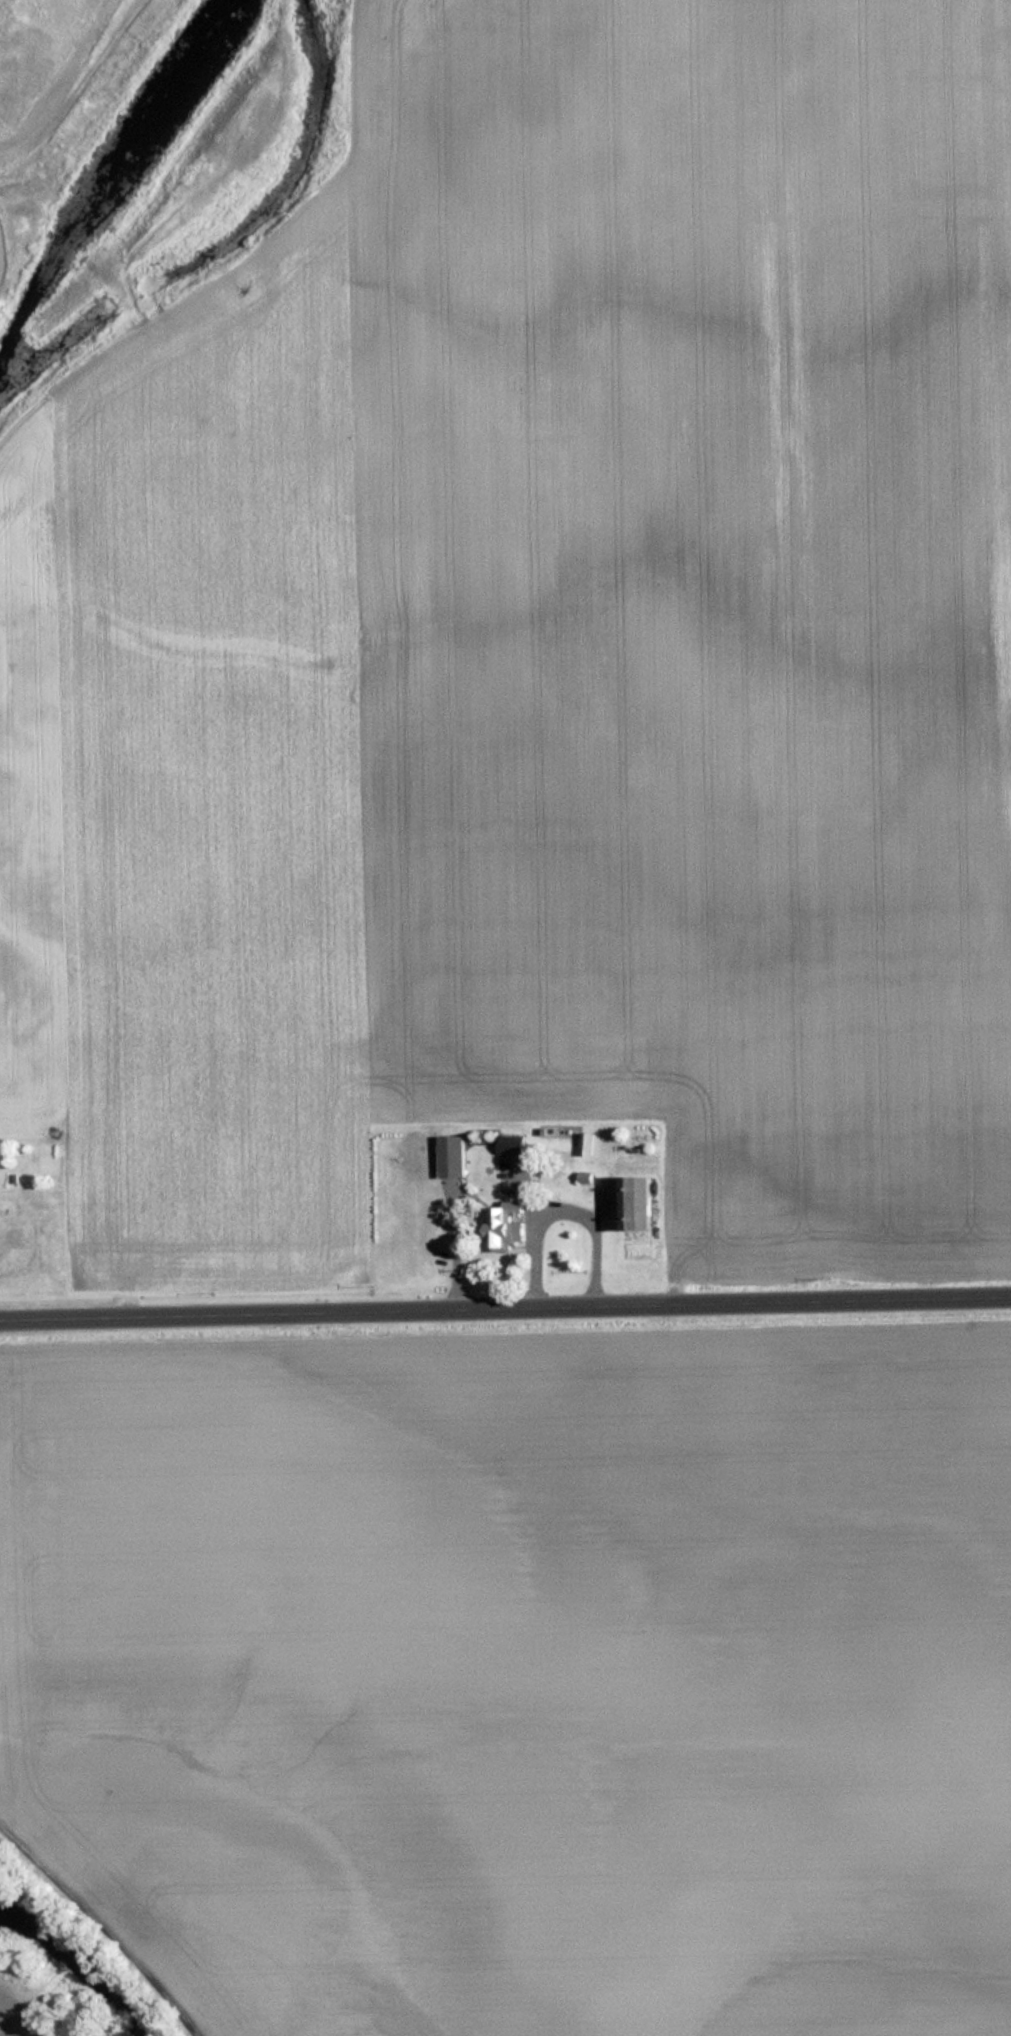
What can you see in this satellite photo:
building: (587, 1144)
building: (511, 1145)
building: (451, 1157)
building: (635, 1204)
building: (499, 1230)
building: (15, 1239)
road: (505, 1307)
river: (77, 1964)

